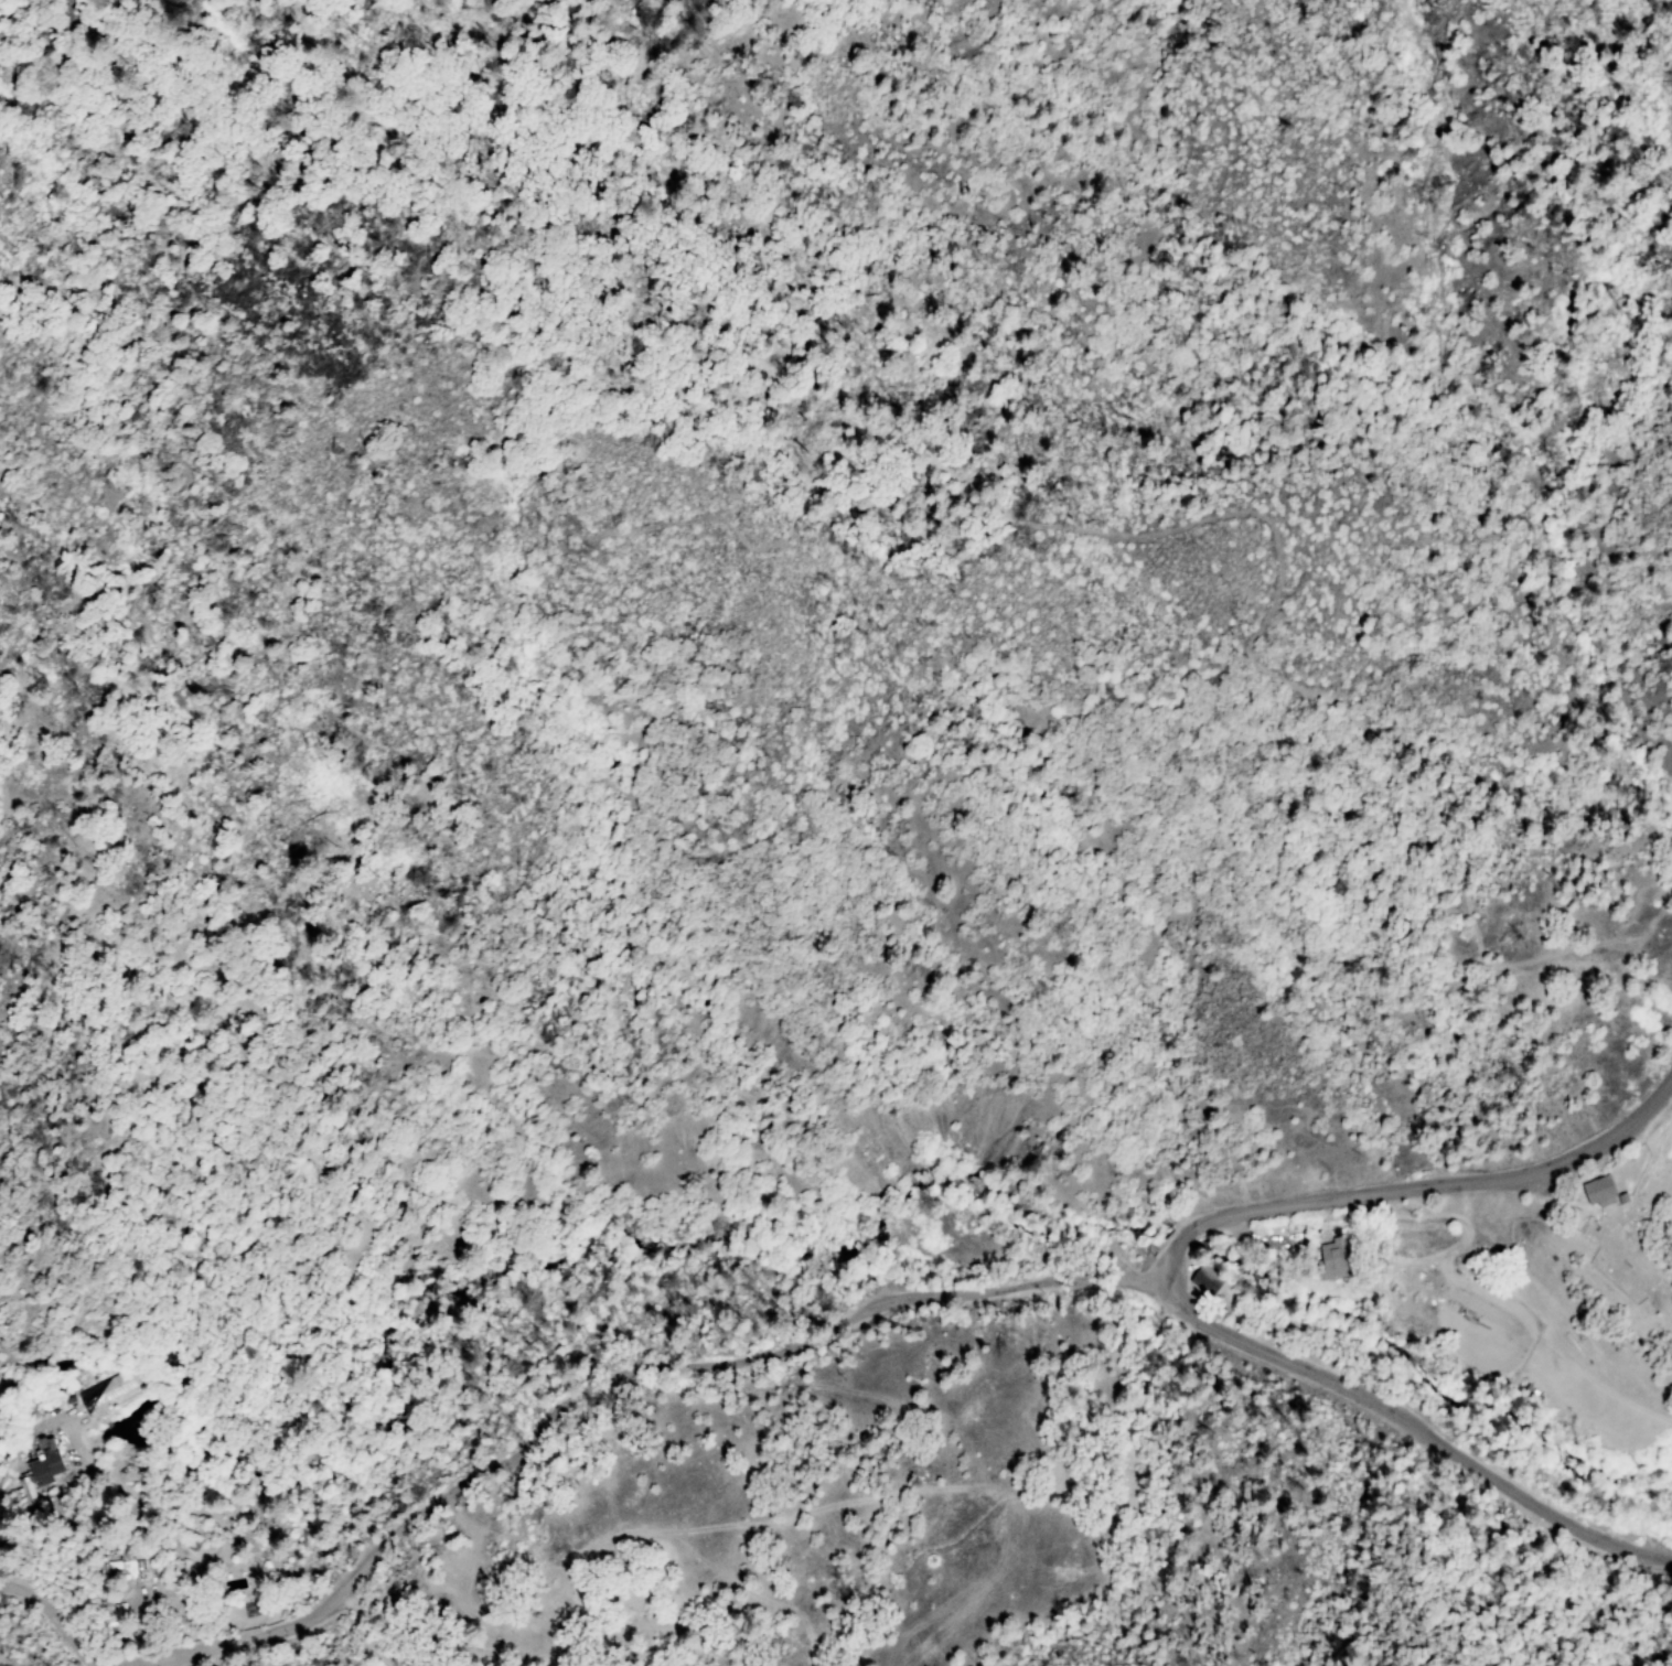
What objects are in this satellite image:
road: (1234, 506)
building: (1601, 1191)
building: (1622, 1199)
building: (1335, 1258)
building: (1207, 1282)
road: (1178, 1283)
building: (1659, 1297)
road: (625, 1377)
building: (37, 1471)
building: (127, 1569)
building: (236, 1579)
building: (115, 1615)
road: (54, 1619)
road: (376, 1631)

